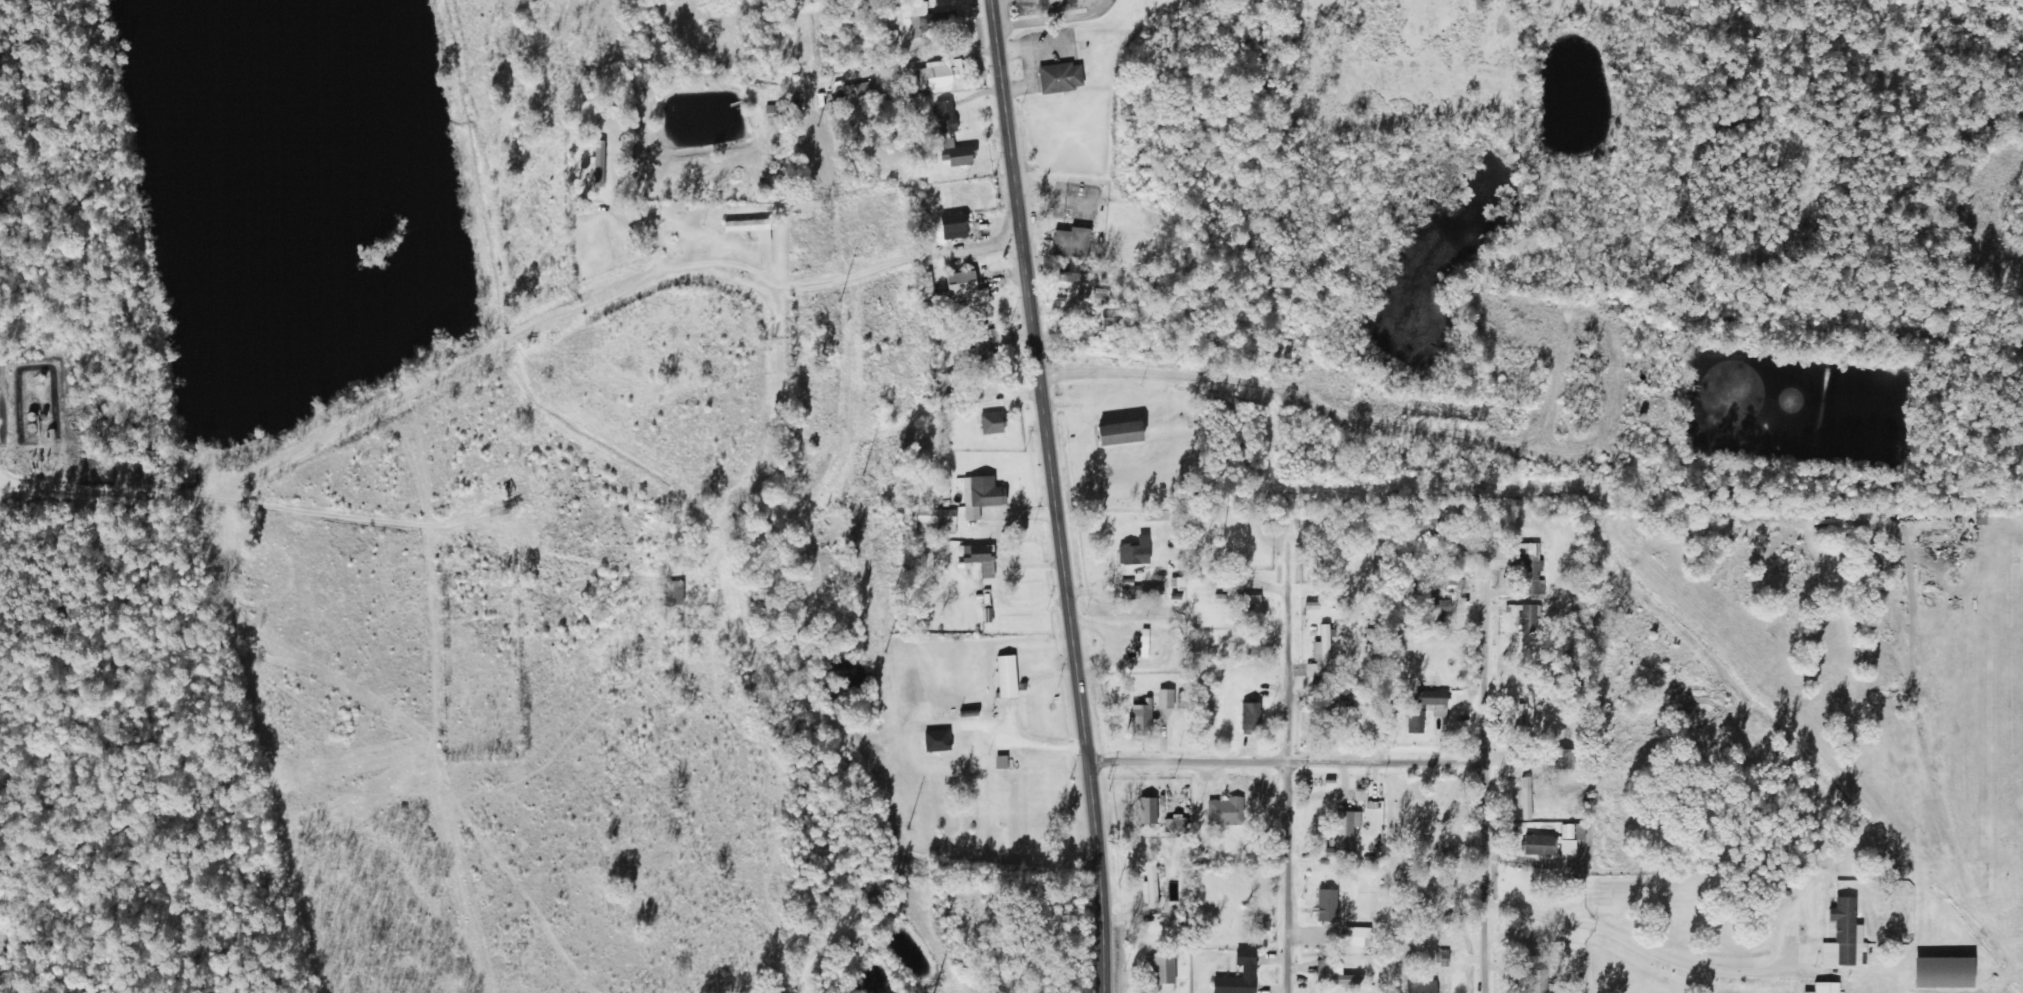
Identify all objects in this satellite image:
building: (928, 20)
building: (940, 76)
building: (1060, 78)
building: (774, 109)
building: (946, 116)
building: (955, 153)
building: (598, 163)
building: (953, 226)
building: (1071, 242)
building: (1072, 273)
building: (963, 283)
building: (1107, 315)
road: (501, 330)
building: (983, 353)
road: (1338, 386)
building: (949, 389)
building: (986, 428)
building: (1123, 434)
building: (982, 495)
road: (1053, 495)
building: (936, 520)
building: (1136, 551)
building: (978, 553)
building: (672, 593)
building: (1237, 598)
building: (1439, 610)
building: (1527, 618)
building: (1143, 642)
building: (1320, 654)
building: (1165, 698)
building: (1182, 701)
building: (1527, 704)
building: (1251, 717)
building: (1141, 718)
road: (1271, 725)
road: (1460, 730)
road: (1268, 758)
building: (1532, 798)
building: (996, 801)
building: (1148, 810)
building: (1224, 811)
building: (1344, 833)
building: (1573, 836)
building: (1539, 844)
building: (1151, 883)
building: (1324, 914)
building: (1842, 933)
building: (1357, 937)
building: (1445, 957)
building: (1161, 968)
building: (1249, 970)
building: (1947, 972)
building: (1334, 974)
building: (1421, 986)
building: (1783, 986)
building: (1827, 987)

